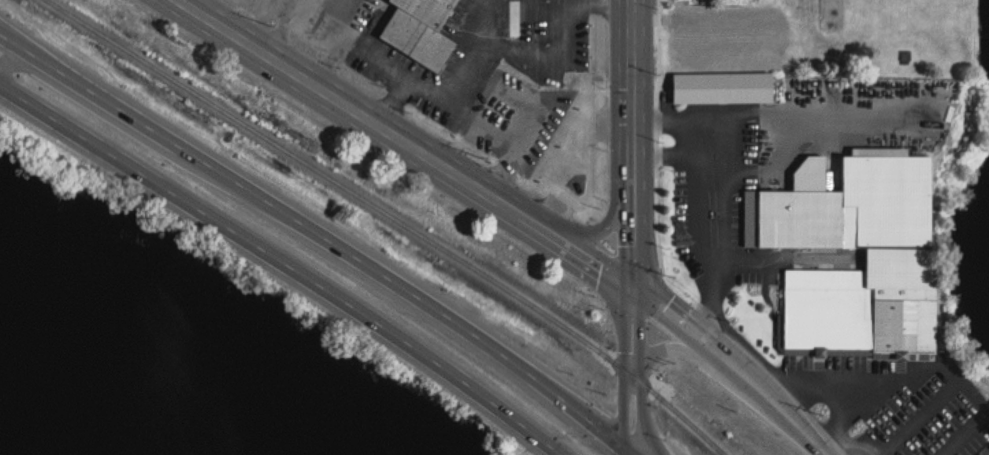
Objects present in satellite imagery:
road: (603, 4)
building: (334, 17)
building: (516, 19)
building: (419, 30)
building: (694, 38)
road: (446, 77)
building: (721, 86)
road: (118, 120)
road: (695, 137)
road: (710, 137)
road: (402, 142)
road: (633, 142)
railway: (345, 182)
building: (797, 210)
road: (597, 230)
road: (324, 234)
road: (723, 240)
road: (285, 261)
building: (864, 302)
road: (632, 329)
road: (666, 343)
road: (735, 363)
road: (929, 368)
road: (623, 412)
road: (639, 412)
railway: (678, 414)
road: (646, 428)
traffic signals: (631, 451)
road: (631, 453)

